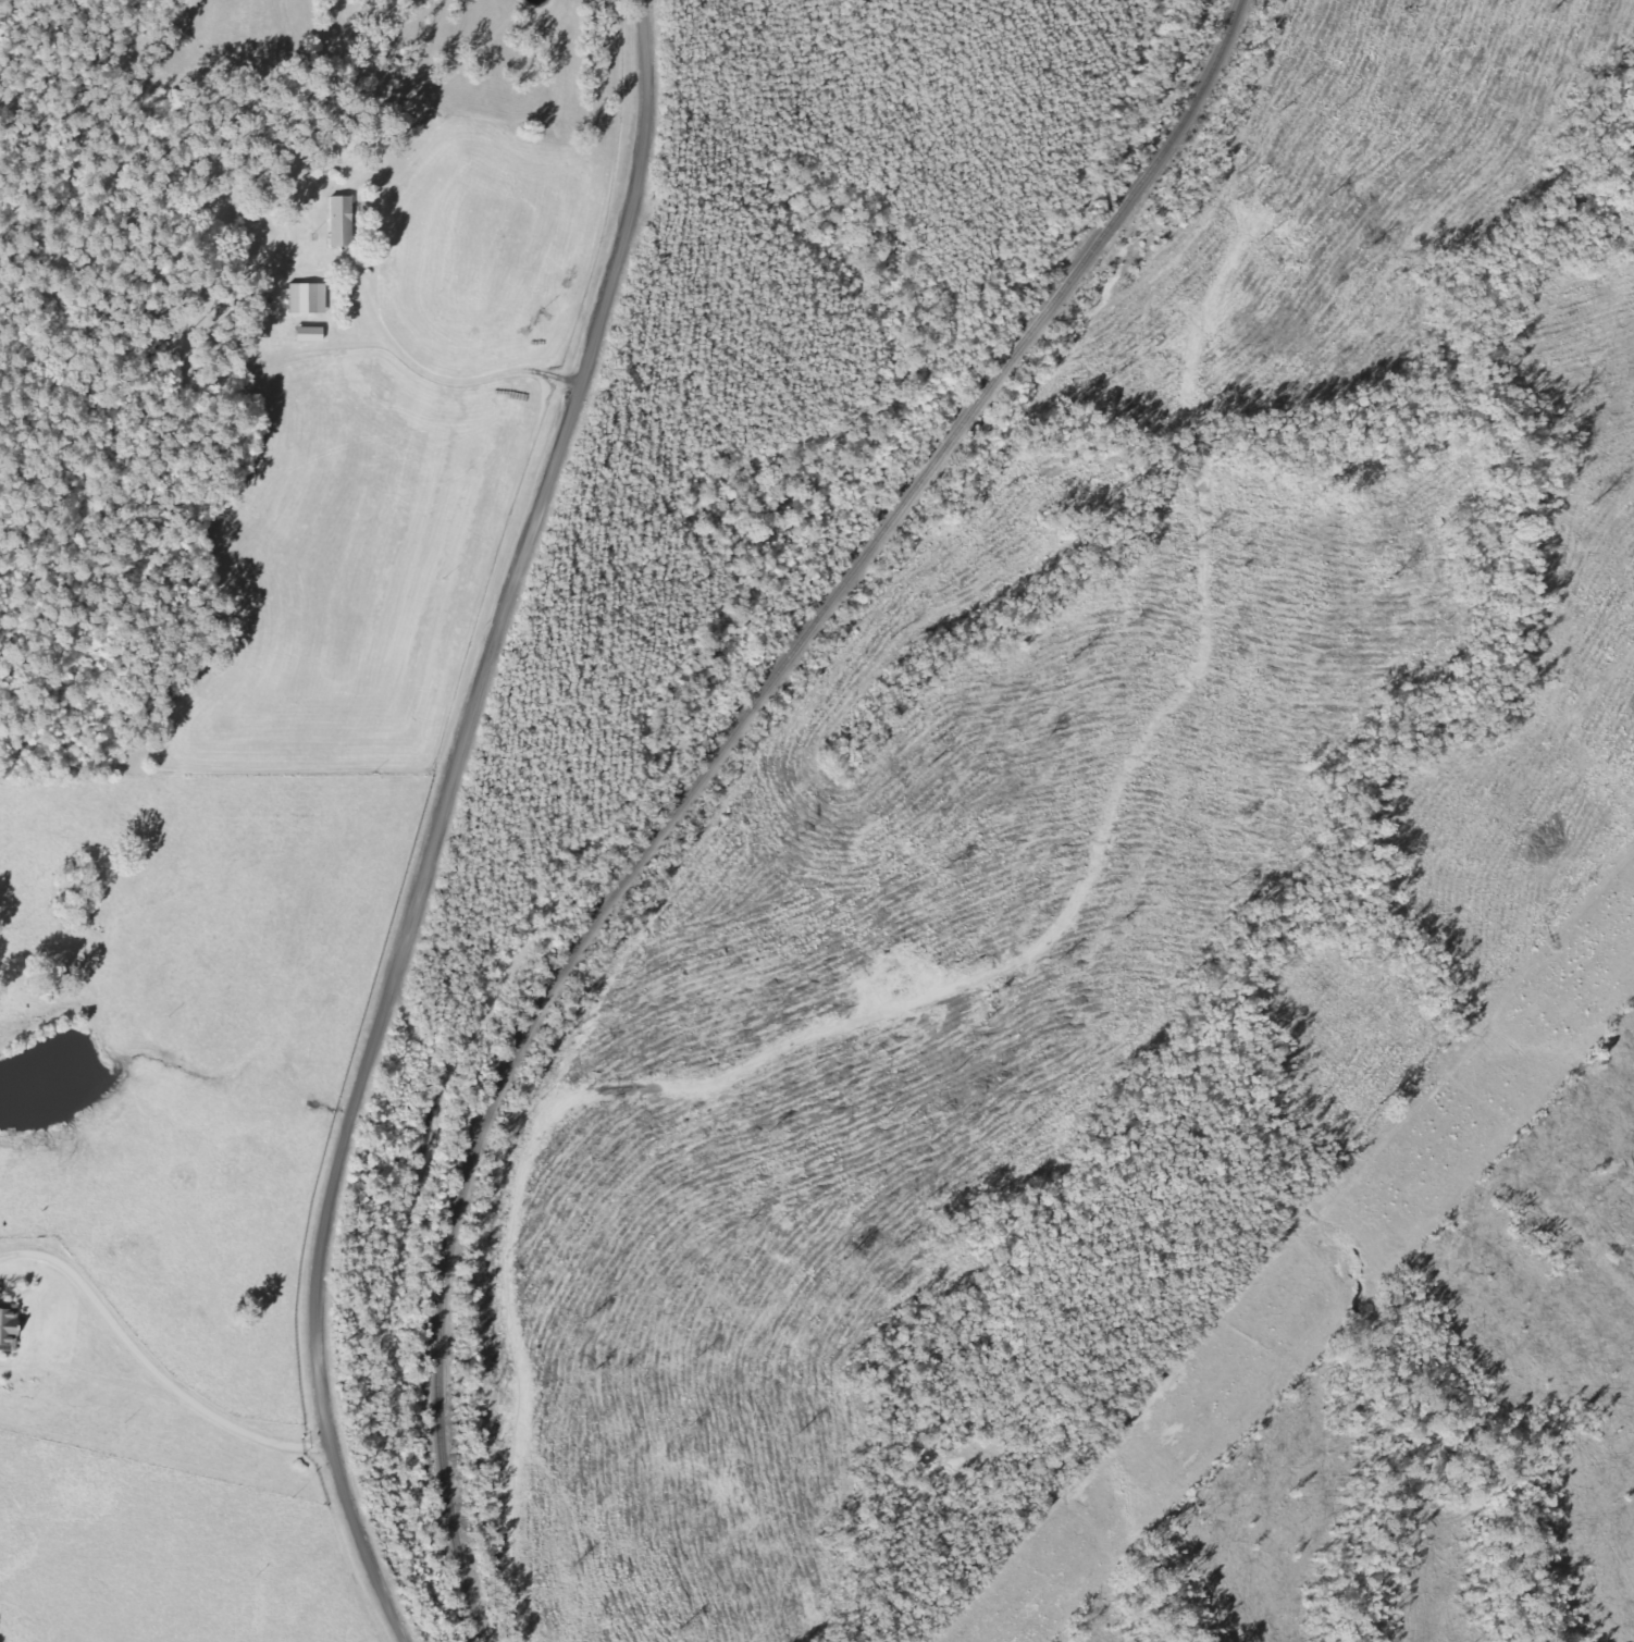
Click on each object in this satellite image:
building: (344, 220)
building: (310, 297)
building: (312, 334)
road: (286, 459)
railway: (702, 773)
road: (438, 820)
building: (10, 1329)

